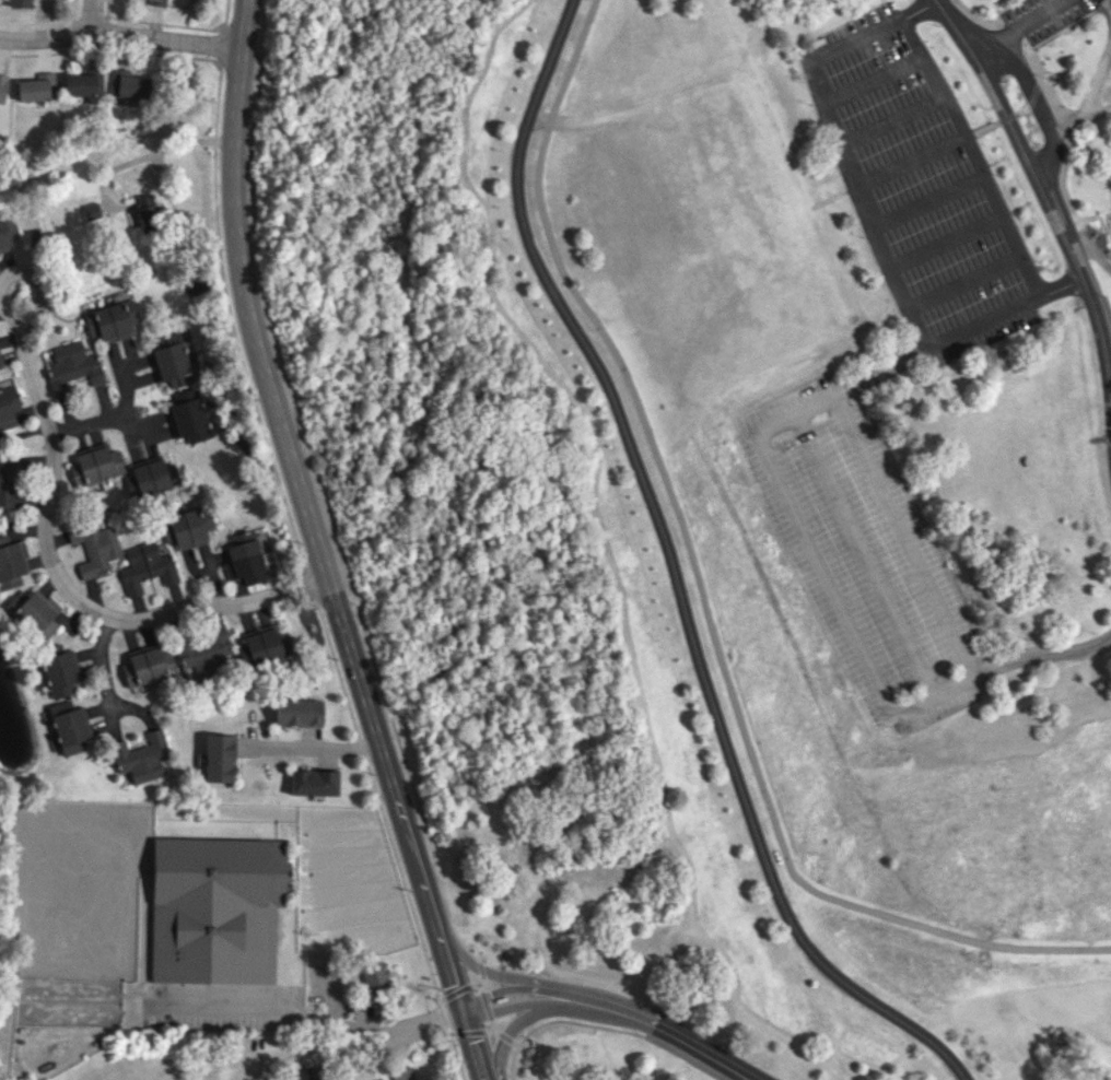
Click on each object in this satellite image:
building: (19, 2)
building: (157, 2)
road: (973, 15)
road: (90, 16)
road: (1015, 26)
road: (121, 33)
road: (1007, 35)
building: (82, 83)
building: (128, 83)
building: (2, 86)
building: (36, 87)
road: (1025, 106)
road: (628, 108)
road: (1076, 109)
road: (967, 136)
road: (1065, 143)
road: (969, 153)
parking lot: (913, 173)
road: (1050, 204)
building: (152, 210)
building: (92, 211)
road: (875, 220)
building: (7, 231)
road: (1074, 237)
road: (1099, 258)
road: (25, 275)
building: (112, 320)
building: (0, 363)
building: (172, 364)
building: (72, 366)
building: (10, 408)
road: (113, 414)
building: (188, 416)
road: (130, 420)
building: (212, 422)
road: (753, 431)
building: (100, 465)
building: (9, 476)
building: (152, 477)
park: (725, 506)
building: (188, 527)
road: (320, 547)
building: (96, 548)
road: (863, 553)
parking lot: (864, 553)
building: (244, 561)
building: (12, 564)
building: (145, 567)
road: (671, 568)
road: (699, 589)
road: (67, 590)
building: (37, 611)
building: (262, 645)
building: (204, 653)
road: (1044, 654)
road: (98, 664)
building: (143, 667)
building: (59, 672)
road: (132, 708)
building: (297, 712)
building: (69, 727)
road: (309, 747)
building: (141, 756)
building: (219, 758)
building: (313, 782)
building: (215, 908)
building: (374, 975)
road: (513, 976)
road: (619, 1008)
road: (318, 1018)
road: (523, 1022)
building: (405, 1073)

